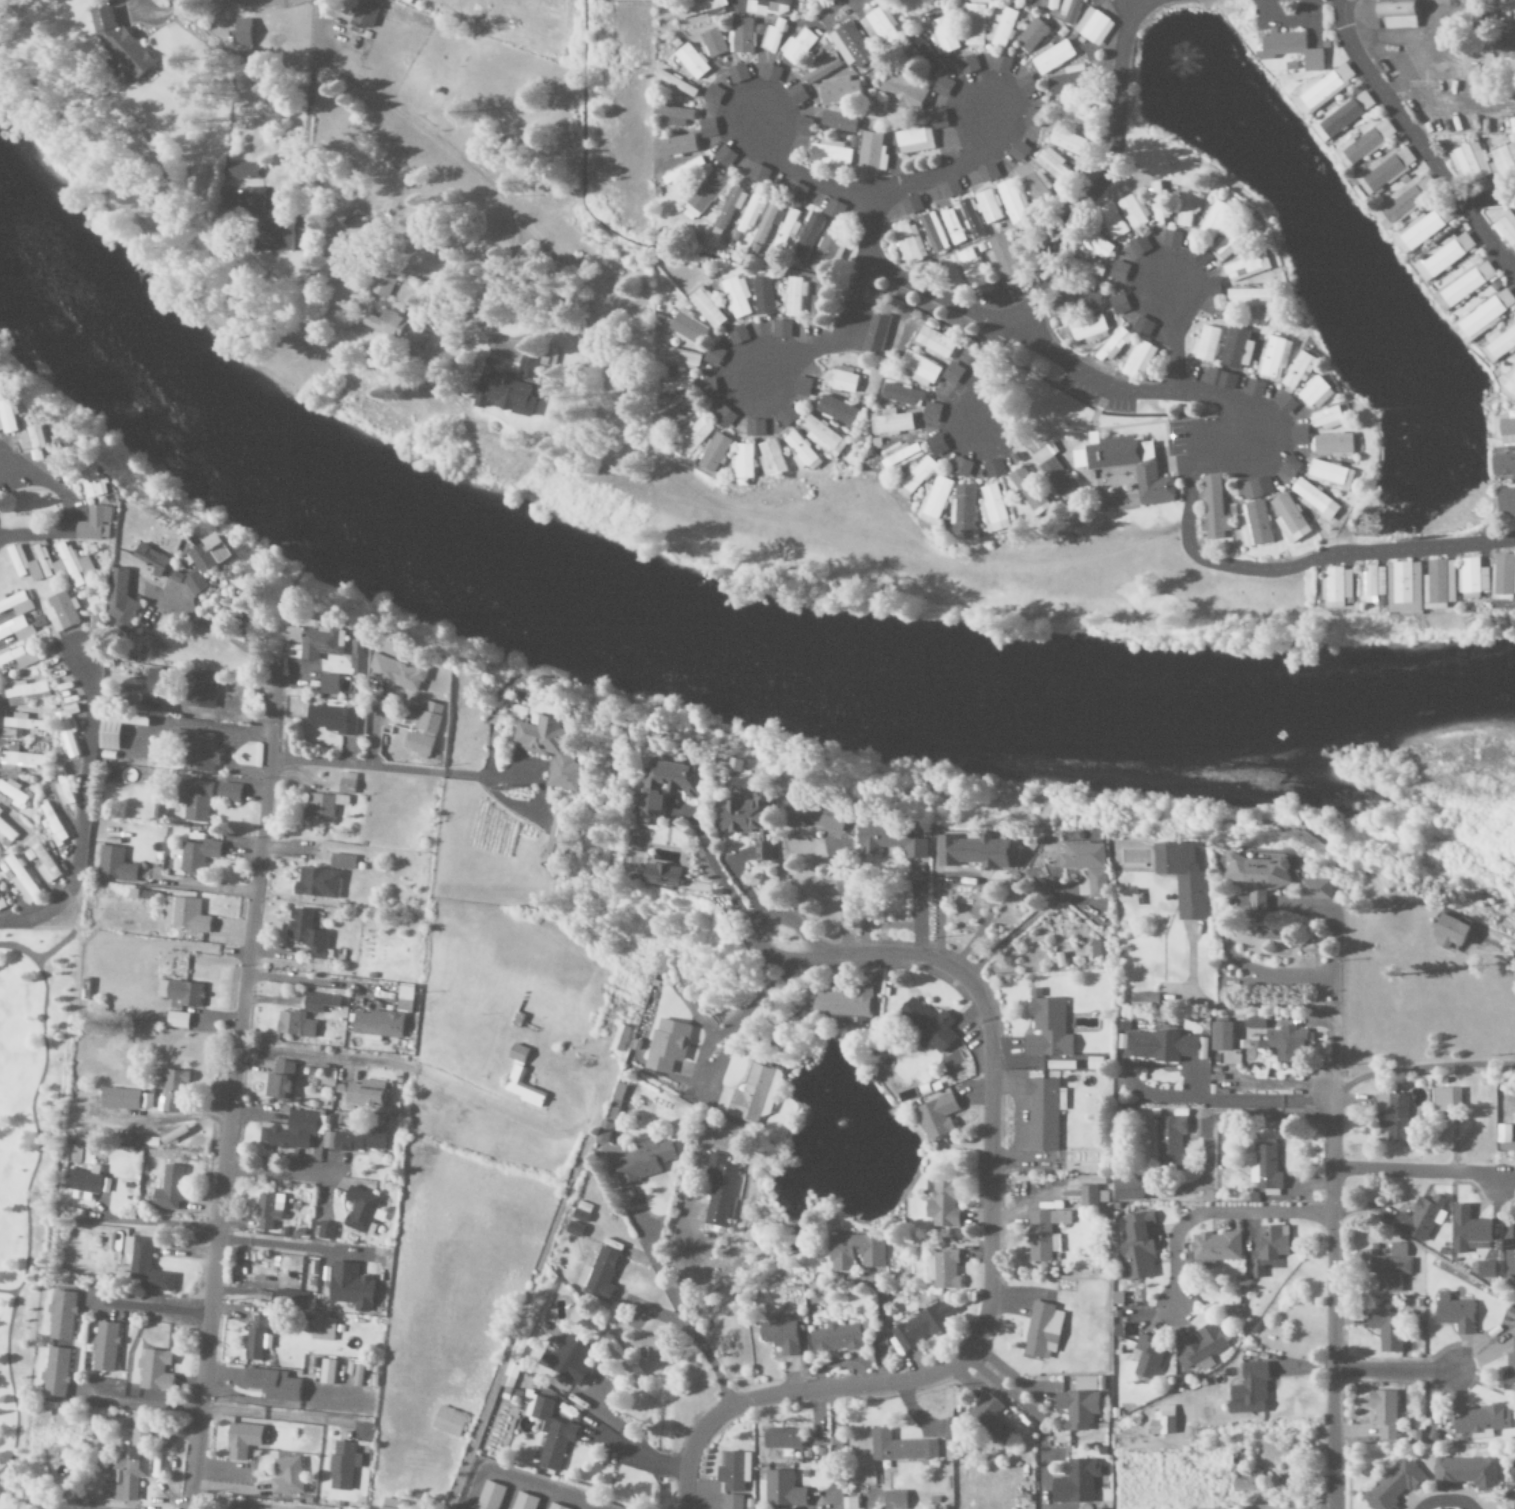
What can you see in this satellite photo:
road: (738, 2)
building: (1053, 5)
building: (699, 7)
building: (768, 7)
building: (1070, 10)
building: (364, 12)
building: (1390, 14)
building: (974, 25)
building: (879, 26)
building: (1093, 27)
building: (1002, 29)
building: (243, 35)
building: (741, 35)
building: (1031, 35)
building: (773, 36)
building: (943, 36)
building: (712, 42)
building: (119, 44)
building: (851, 45)
building: (798, 47)
building: (1504, 47)
building: (1290, 48)
building: (924, 54)
building: (1052, 56)
building: (690, 62)
building: (967, 65)
building: (1000, 65)
building: (822, 69)
building: (737, 73)
building: (770, 73)
building: (676, 85)
building: (1025, 85)
building: (941, 86)
building: (1322, 89)
building: (838, 90)
building: (902, 94)
building: (712, 95)
building: (796, 95)
road: (397, 113)
building: (1345, 113)
building: (1073, 114)
building: (673, 115)
building: (1030, 118)
building: (937, 119)
building: (837, 121)
building: (801, 126)
road: (309, 127)
building: (706, 127)
building: (914, 141)
building: (1068, 142)
road: (1419, 142)
building: (675, 146)
building: (1017, 151)
building: (871, 153)
building: (829, 154)
building: (723, 156)
building: (1504, 159)
building: (1470, 161)
building: (1050, 164)
building: (1385, 170)
building: (248, 171)
road: (942, 171)
building: (683, 172)
building: (987, 172)
building: (757, 174)
road: (802, 174)
road: (1104, 178)
building: (1035, 186)
building: (948, 188)
building: (795, 191)
building: (705, 194)
building: (1406, 198)
road: (1488, 199)
building: (1011, 201)
building: (910, 204)
building: (1158, 205)
building: (987, 207)
building: (729, 209)
building: (1187, 209)
building: (1134, 212)
building: (749, 215)
building: (969, 217)
building: (356, 220)
building: (1213, 220)
building: (1112, 221)
building: (274, 222)
building: (768, 223)
building: (951, 227)
building: (788, 228)
building: (816, 228)
building: (1423, 228)
building: (1507, 230)
building: (932, 232)
building: (1171, 239)
building: (907, 243)
building: (1093, 246)
building: (1138, 246)
building: (1225, 246)
building: (827, 248)
building: (1444, 256)
building: (1001, 257)
building: (1246, 267)
building: (968, 268)
building: (1082, 268)
building: (1117, 271)
building: (385, 284)
building: (1464, 285)
building: (1211, 286)
building: (763, 296)
building: (795, 296)
building: (737, 297)
building: (995, 298)
building: (1079, 299)
building: (1251, 300)
building: (1118, 304)
building: (707, 308)
building: (1483, 317)
building: (1141, 326)
building: (689, 327)
building: (396, 329)
building: (781, 329)
building: (1088, 330)
building: (876, 334)
building: (737, 335)
road: (1017, 335)
road: (832, 337)
road: (1174, 339)
building: (934, 343)
building: (1500, 343)
building: (1205, 344)
building: (1113, 345)
building: (1236, 348)
building: (713, 356)
building: (1273, 357)
building: (677, 358)
building: (1137, 359)
building: (529, 366)
building: (919, 369)
building: (1298, 370)
building: (953, 373)
road: (976, 375)
building: (845, 380)
building: (1225, 381)
building: (676, 384)
building: (802, 386)
building: (1508, 386)
building: (708, 388)
building: (1253, 388)
building: (504, 389)
building: (1315, 393)
building: (901, 395)
building: (1285, 404)
building: (836, 410)
building: (931, 412)
building: (675, 414)
building: (725, 416)
building: (786, 417)
building: (11, 418)
building: (1326, 419)
building: (890, 422)
building: (755, 428)
building: (1506, 428)
building: (695, 435)
building: (1298, 435)
building: (825, 437)
road: (1236, 437)
building: (40, 443)
building: (1332, 444)
building: (936, 445)
building: (803, 452)
building: (715, 455)
building: (898, 456)
building: (772, 459)
building: (743, 462)
building: (1503, 465)
building: (961, 467)
building: (1087, 467)
building: (1289, 467)
building: (1329, 475)
building: (914, 477)
building: (100, 483)
building: (1256, 488)
building: (1026, 492)
building: (935, 499)
building: (1315, 500)
building: (1506, 501)
road: (81, 505)
building: (962, 509)
building: (993, 509)
building: (1213, 512)
building: (1288, 518)
building: (1255, 523)
building: (103, 524)
building: (157, 559)
building: (53, 562)
building: (210, 563)
building: (28, 564)
building: (82, 565)
road: (1273, 570)
building: (1504, 576)
building: (1475, 578)
building: (1374, 583)
building: (1441, 584)
building: (1338, 587)
building: (1406, 587)
building: (123, 598)
building: (18, 604)
building: (66, 611)
building: (19, 630)
road: (228, 635)
river: (688, 641)
building: (317, 643)
building: (155, 646)
building: (20, 657)
building: (364, 659)
building: (400, 673)
building: (333, 684)
building: (201, 691)
building: (27, 693)
building: (333, 719)
building: (23, 723)
building: (424, 728)
building: (12, 733)
building: (108, 735)
building: (69, 743)
building: (554, 751)
building: (199, 752)
building: (19, 760)
road: (398, 768)
building: (346, 783)
building: (671, 786)
building: (228, 792)
building: (12, 795)
building: (194, 800)
road: (81, 807)
building: (321, 808)
building: (0, 810)
building: (820, 814)
building: (754, 822)
building: (7, 831)
building: (557, 834)
building: (896, 841)
building: (977, 852)
building: (197, 856)
building: (42, 862)
building: (341, 862)
building: (114, 864)
building: (1091, 865)
building: (665, 875)
building: (1187, 878)
building: (1261, 879)
building: (20, 880)
building: (316, 883)
building: (1318, 889)
building: (184, 915)
building: (306, 933)
building: (1448, 933)
road: (64, 938)
building: (1097, 948)
road: (316, 980)
building: (179, 992)
building: (404, 999)
building: (1144, 1000)
building: (318, 1002)
building: (845, 1003)
building: (176, 1020)
building: (1253, 1022)
building: (294, 1024)
building: (376, 1024)
building: (926, 1025)
building: (1047, 1028)
building: (1221, 1036)
building: (619, 1038)
building: (1287, 1043)
building: (666, 1046)
building: (1160, 1046)
building: (1095, 1064)
building: (519, 1078)
park: (0, 1082)
building: (280, 1082)
building: (172, 1091)
road: (234, 1092)
building: (620, 1093)
building: (365, 1094)
building: (754, 1095)
building: (118, 1099)
building: (1445, 1100)
building: (145, 1101)
building: (1042, 1115)
building: (1392, 1116)
building: (937, 1117)
building: (288, 1132)
building: (602, 1133)
building: (172, 1136)
building: (1504, 1139)
building: (353, 1140)
building: (1169, 1141)
building: (641, 1161)
park: (25, 1162)
building: (1264, 1167)
road: (1418, 1169)
building: (1091, 1181)
building: (82, 1184)
building: (168, 1189)
building: (719, 1189)
building: (1127, 1189)
road: (24, 1195)
building: (1262, 1195)
building: (1089, 1196)
building: (942, 1204)
building: (1052, 1206)
building: (267, 1210)
building: (361, 1210)
road: (1214, 1214)
building: (1421, 1218)
building: (576, 1223)
building: (1514, 1225)
building: (1467, 1229)
building: (324, 1231)
building: (1043, 1233)
building: (1272, 1242)
building: (1214, 1246)
building: (1136, 1248)
building: (855, 1252)
road: (1334, 1259)
building: (143, 1267)
building: (1390, 1268)
building: (1482, 1269)
building: (942, 1270)
building: (599, 1275)
road: (990, 1275)
building: (1514, 1286)
building: (349, 1287)
road: (7, 1291)
building: (1117, 1298)
building: (291, 1299)
road: (517, 1309)
building: (1455, 1314)
building: (62, 1316)
building: (920, 1327)
building: (323, 1328)
building: (1042, 1331)
building: (1386, 1331)
building: (779, 1337)
building: (836, 1338)
building: (257, 1339)
building: (105, 1348)
building: (1200, 1349)
building: (1146, 1357)
building: (568, 1361)
road: (1396, 1370)
building: (1509, 1370)
building: (155, 1371)
building: (328, 1372)
building: (55, 1373)
building: (358, 1376)
building: (271, 1385)
building: (1248, 1391)
building: (1076, 1410)
building: (1383, 1413)
building: (989, 1419)
building: (1482, 1420)
building: (448, 1421)
building: (1162, 1422)
building: (139, 1431)
building: (548, 1432)
building: (781, 1439)
building: (243, 1441)
building: (899, 1448)
building: (342, 1466)
building: (731, 1472)
building: (1512, 1472)
building: (1465, 1473)
building: (127, 1475)
building: (286, 1477)
building: (1074, 1482)
building: (1247, 1482)
building: (1393, 1485)
building: (782, 1491)
building: (731, 1502)
building: (849, 1503)
building: (393, 1504)
building: (554, 1506)

